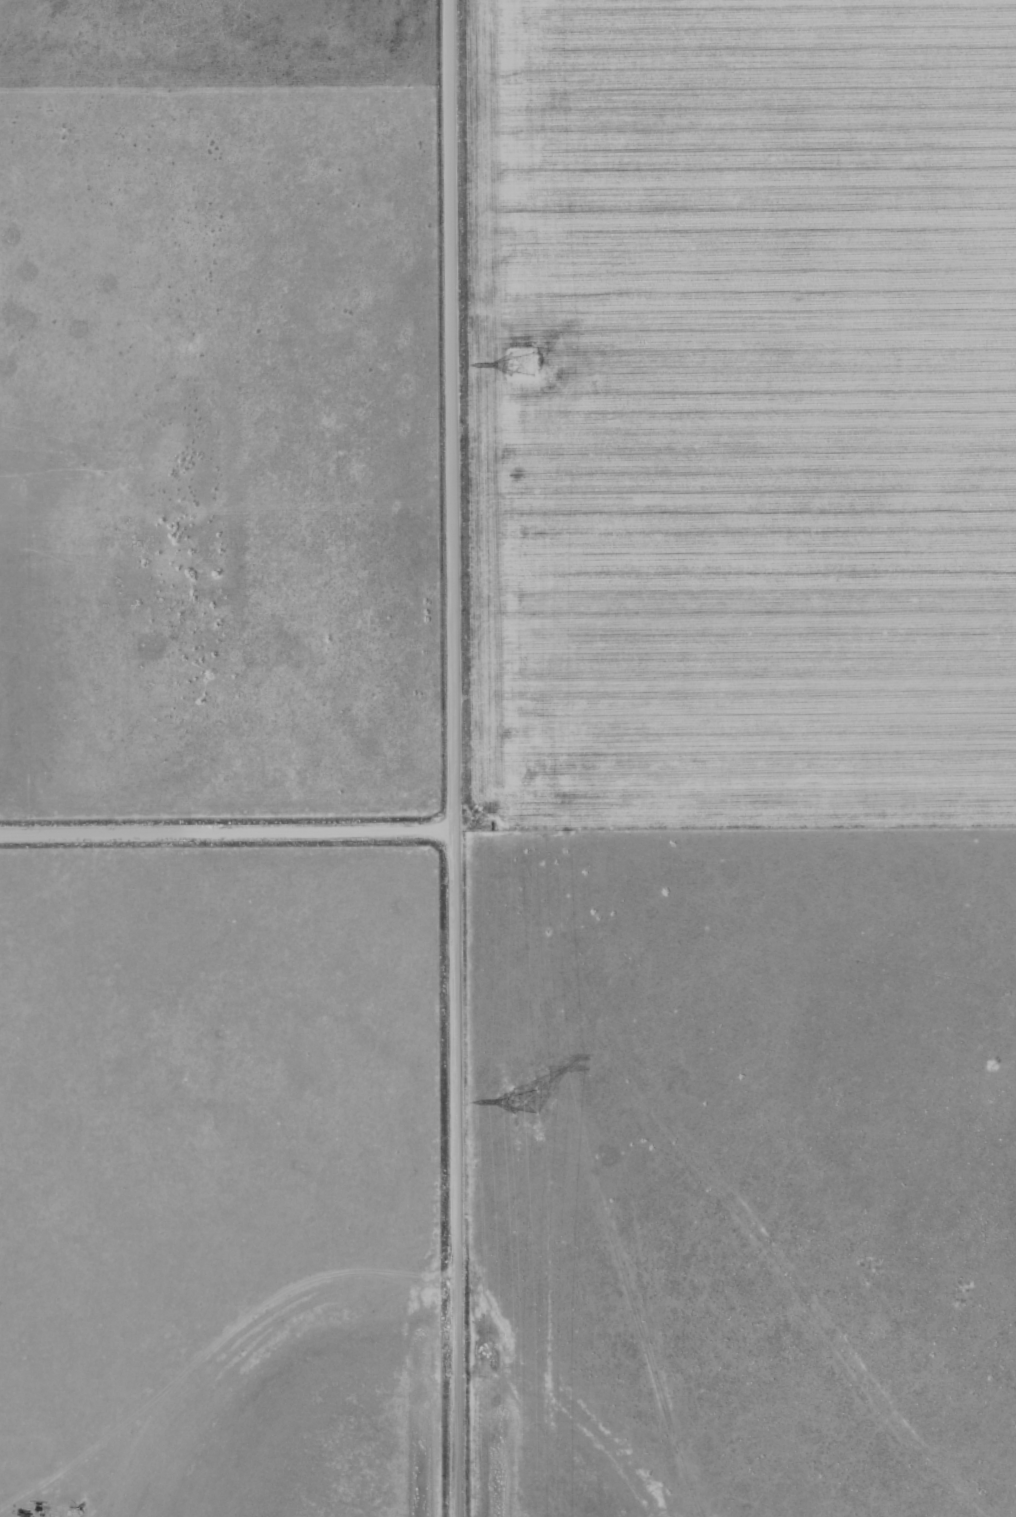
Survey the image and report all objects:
power tower: (517, 363)
road: (454, 758)
road: (735, 825)
road: (227, 829)
power tower: (522, 1101)

